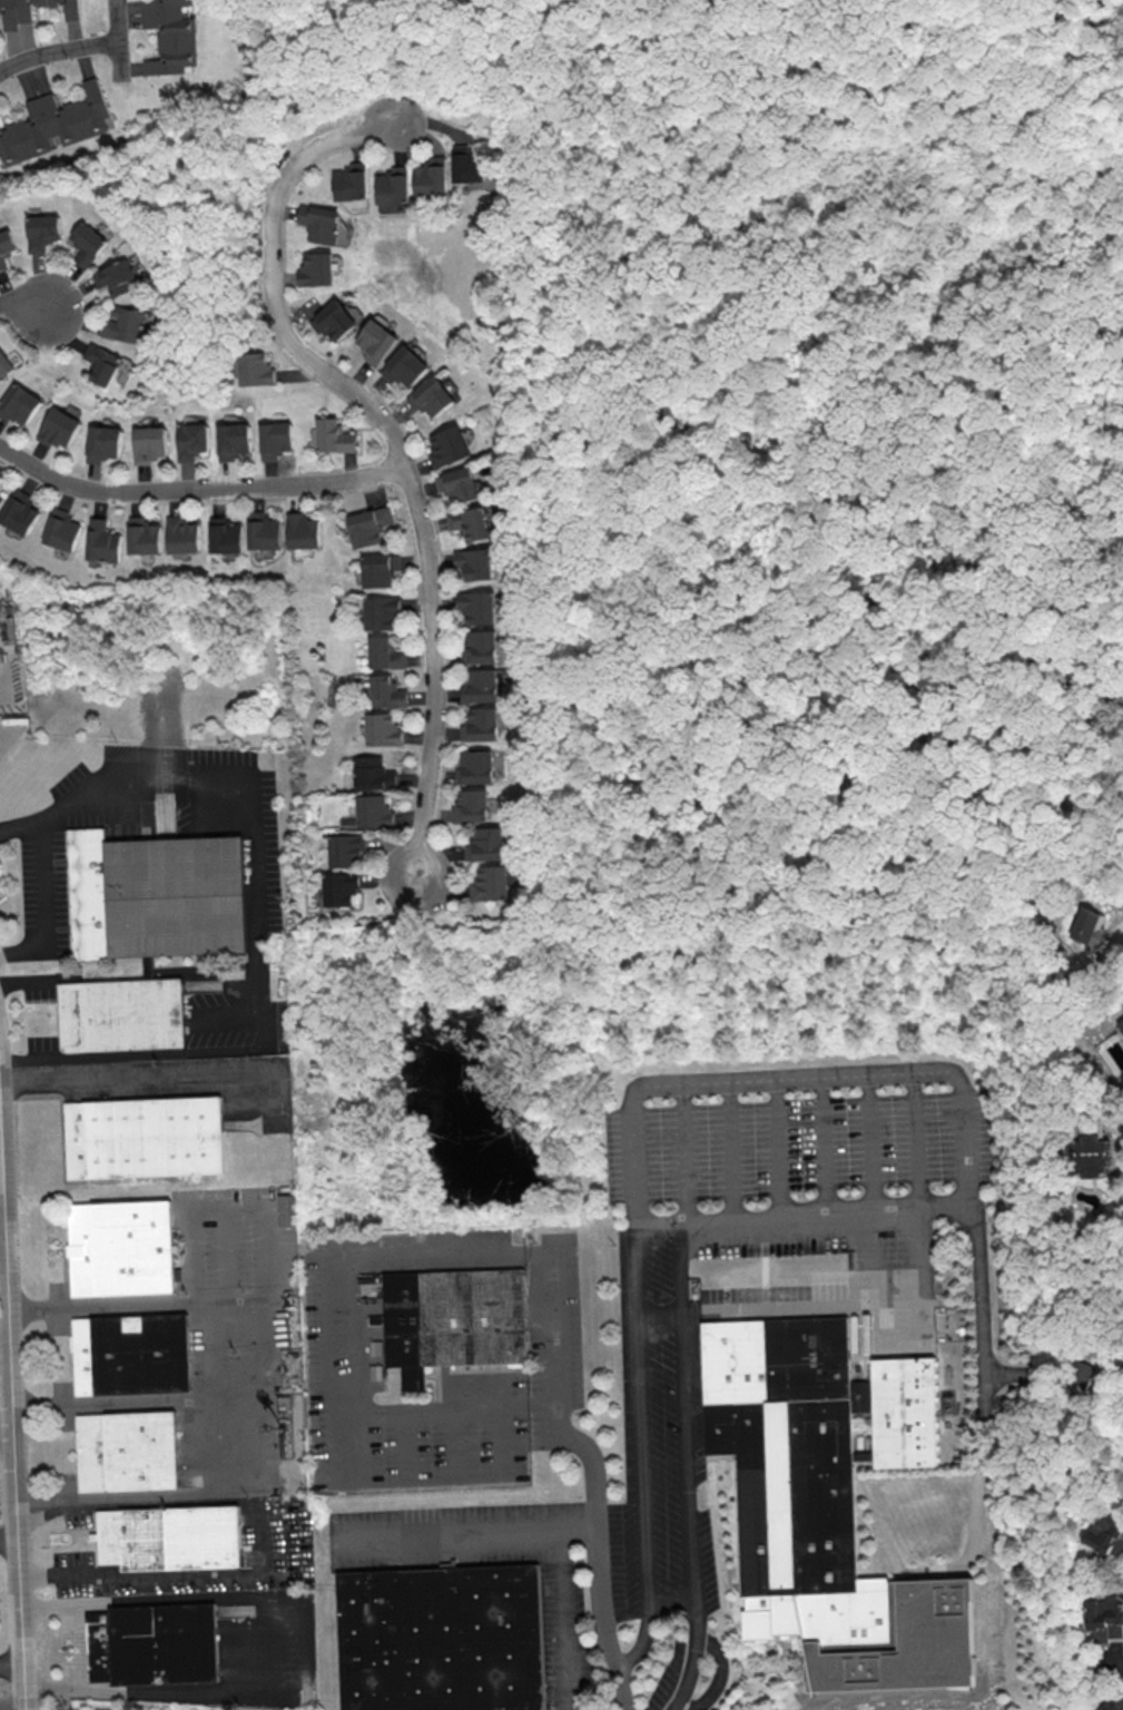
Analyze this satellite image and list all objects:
building: (32, 10)
road: (1006, 16)
road: (117, 21)
river: (1107, 27)
building: (170, 36)
road: (57, 53)
road: (1032, 58)
road: (119, 60)
building: (53, 124)
building: (470, 164)
road: (584, 166)
building: (432, 177)
building: (351, 181)
building: (394, 185)
building: (319, 223)
building: (41, 232)
building: (87, 243)
building: (6, 246)
building: (316, 269)
building: (115, 277)
road: (33, 309)
building: (334, 321)
building: (125, 324)
building: (376, 342)
building: (104, 363)
building: (4, 365)
building: (405, 366)
building: (255, 370)
building: (431, 396)
building: (19, 404)
building: (60, 427)
building: (334, 436)
park: (804, 436)
building: (275, 439)
building: (233, 440)
building: (191, 441)
building: (105, 443)
building: (150, 443)
road: (395, 445)
building: (447, 446)
building: (459, 485)
road: (196, 490)
building: (1, 499)
building: (21, 512)
building: (470, 522)
building: (370, 525)
building: (63, 530)
building: (303, 530)
building: (265, 531)
road: (594, 531)
building: (184, 534)
building: (145, 535)
building: (226, 535)
building: (105, 541)
building: (476, 562)
building: (381, 569)
building: (480, 607)
building: (383, 612)
building: (481, 647)
building: (386, 653)
building: (481, 685)
building: (387, 691)
building: (1111, 707)
building: (480, 725)
building: (384, 729)
building: (475, 767)
building: (374, 774)
building: (471, 806)
building: (374, 812)
building: (487, 844)
building: (346, 849)
road: (856, 867)
building: (490, 884)
building: (342, 888)
building: (159, 896)
road: (45, 904)
road: (263, 915)
building: (1088, 925)
road: (1109, 941)
road: (1112, 945)
building: (151, 969)
building: (124, 1015)
road: (230, 1016)
building: (1121, 1024)
road: (136, 1073)
road: (786, 1078)
road: (1112, 1123)
building: (146, 1138)
road: (961, 1142)
road: (821, 1146)
building: (1088, 1147)
road: (774, 1149)
road: (729, 1151)
road: (681, 1153)
road: (0, 1169)
road: (244, 1206)
building: (286, 1209)
road: (915, 1210)
road: (867, 1211)
road: (820, 1216)
road: (657, 1225)
road: (1, 1244)
building: (122, 1248)
road: (326, 1257)
road: (979, 1290)
road: (755, 1314)
building: (455, 1321)
road: (3, 1329)
road: (551, 1342)
road: (1097, 1346)
building: (377, 1348)
road: (897, 1349)
building: (132, 1356)
road: (354, 1366)
building: (376, 1373)
building: (1077, 1373)
road: (132, 1404)
road: (442, 1407)
road: (641, 1413)
road: (11, 1431)
road: (6, 1435)
road: (259, 1445)
building: (129, 1451)
road: (687, 1468)
road: (346, 1477)
road: (139, 1498)
building: (829, 1503)
road: (469, 1535)
building: (1105, 1535)
road: (8, 1537)
building: (170, 1537)
road: (598, 1543)
road: (670, 1601)
road: (62, 1605)
building: (1105, 1616)
road: (567, 1620)
road: (292, 1639)
building: (442, 1639)
building: (155, 1644)
road: (77, 1647)
road: (10, 1665)
road: (718, 1680)
road: (66, 1688)
road: (11, 1706)

